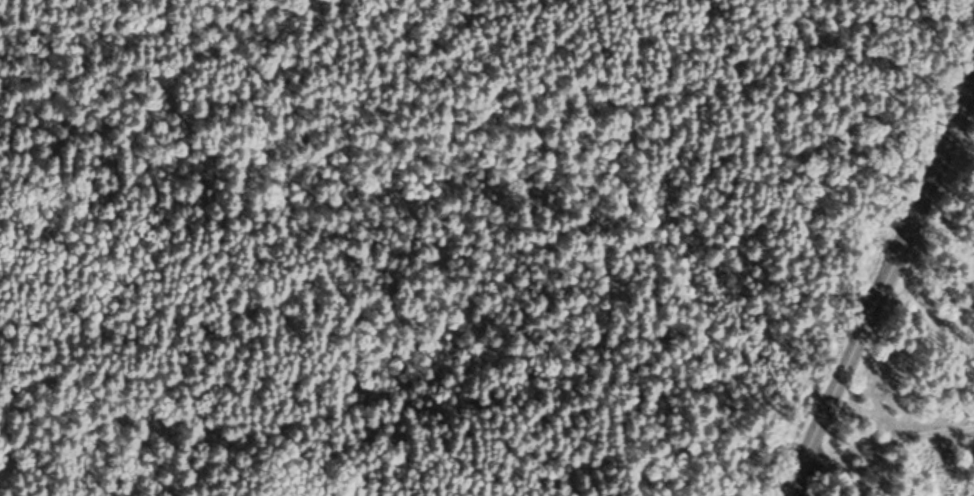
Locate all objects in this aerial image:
road: (880, 284)
road: (884, 443)

